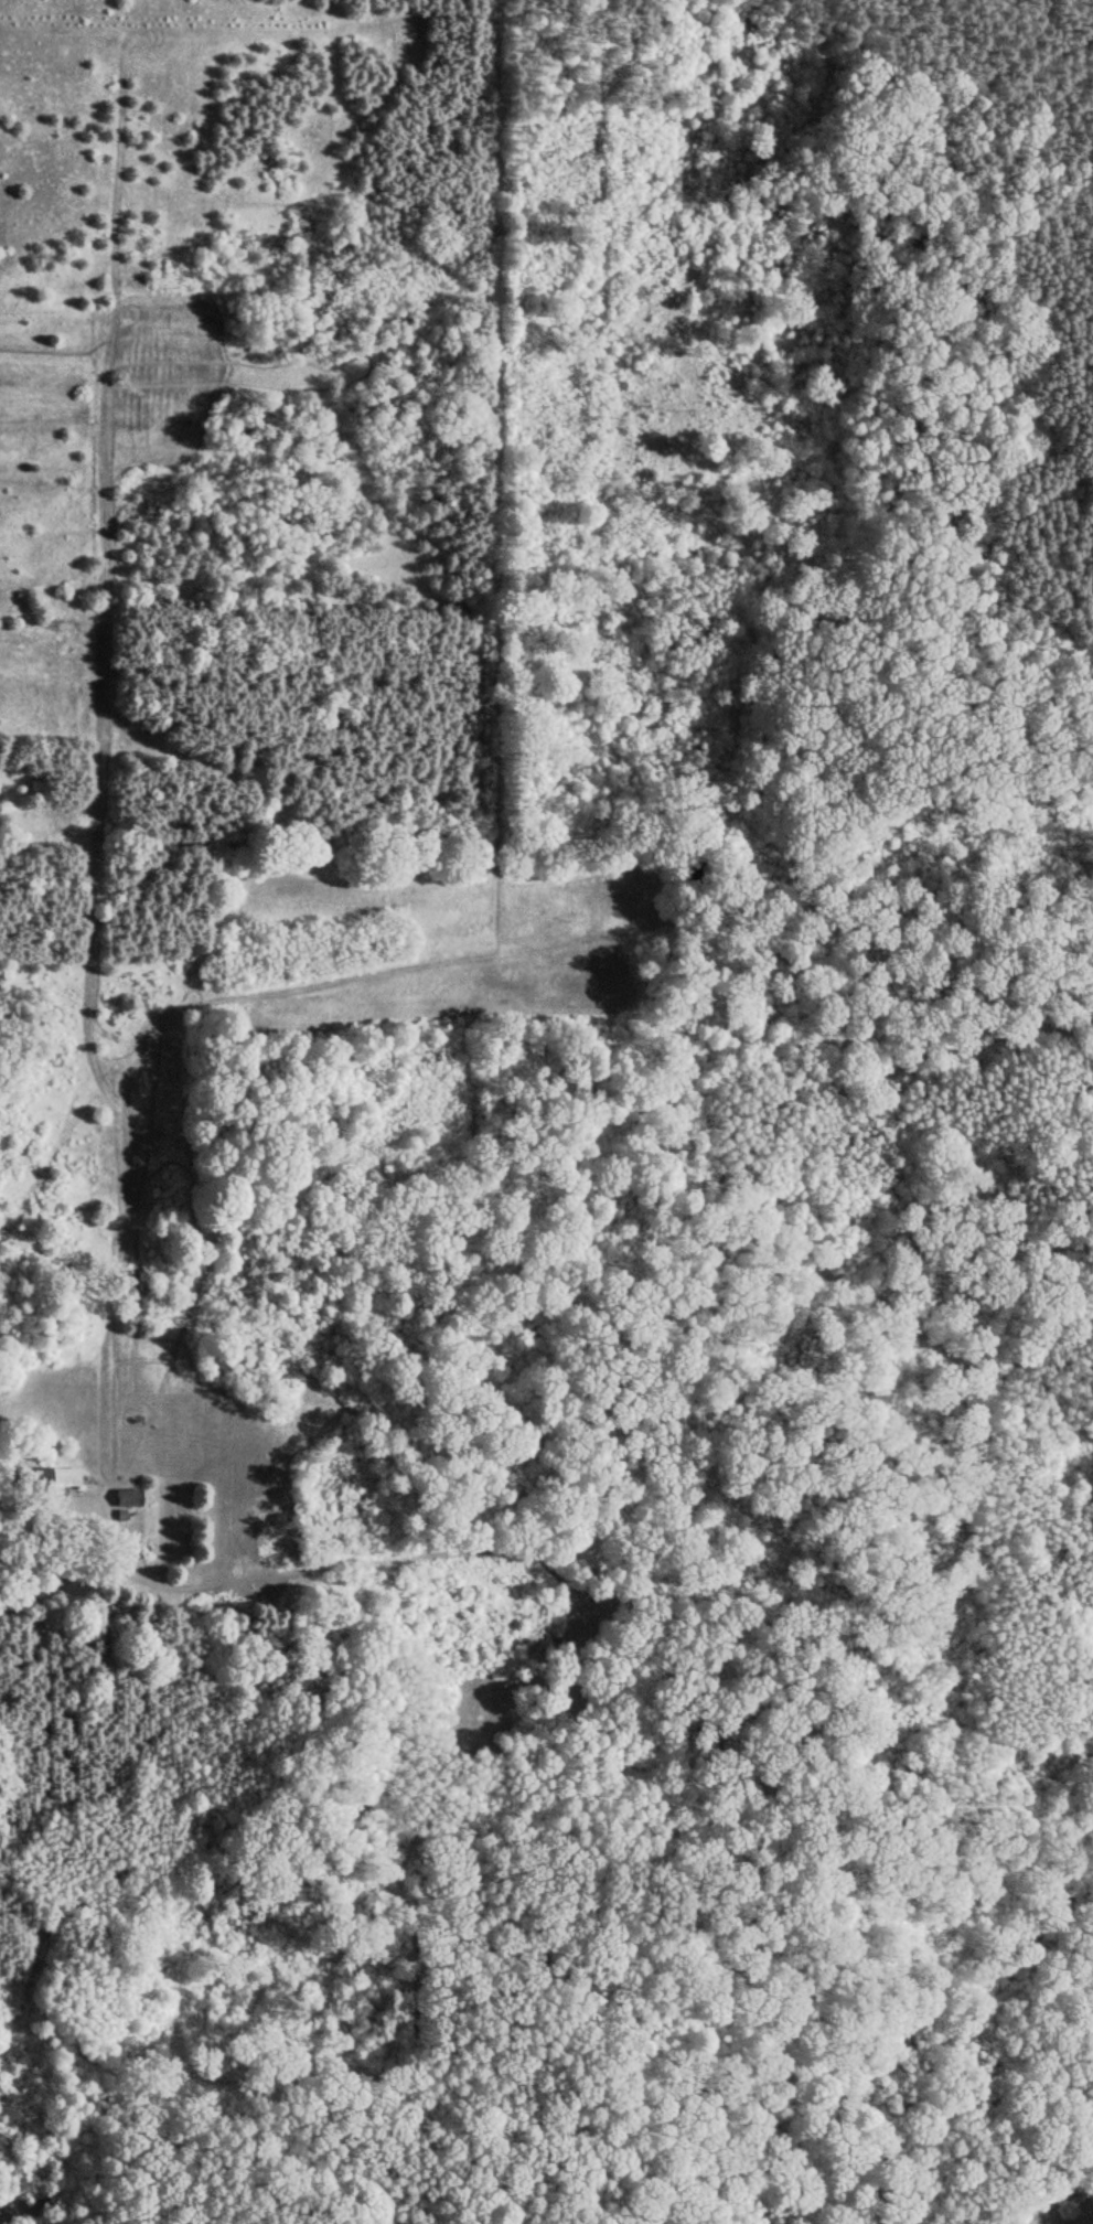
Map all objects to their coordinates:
building: (63, 1476)
building: (125, 1497)

